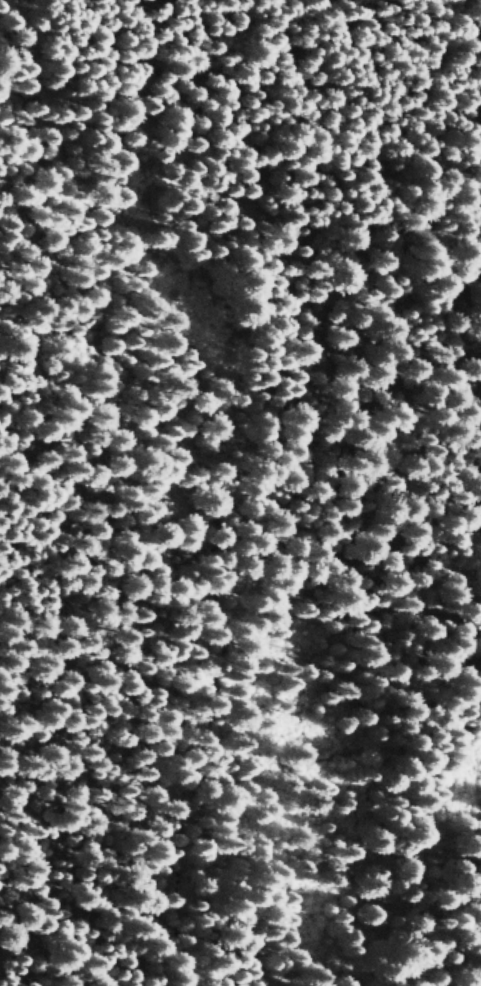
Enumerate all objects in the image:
road: (127, 694)

